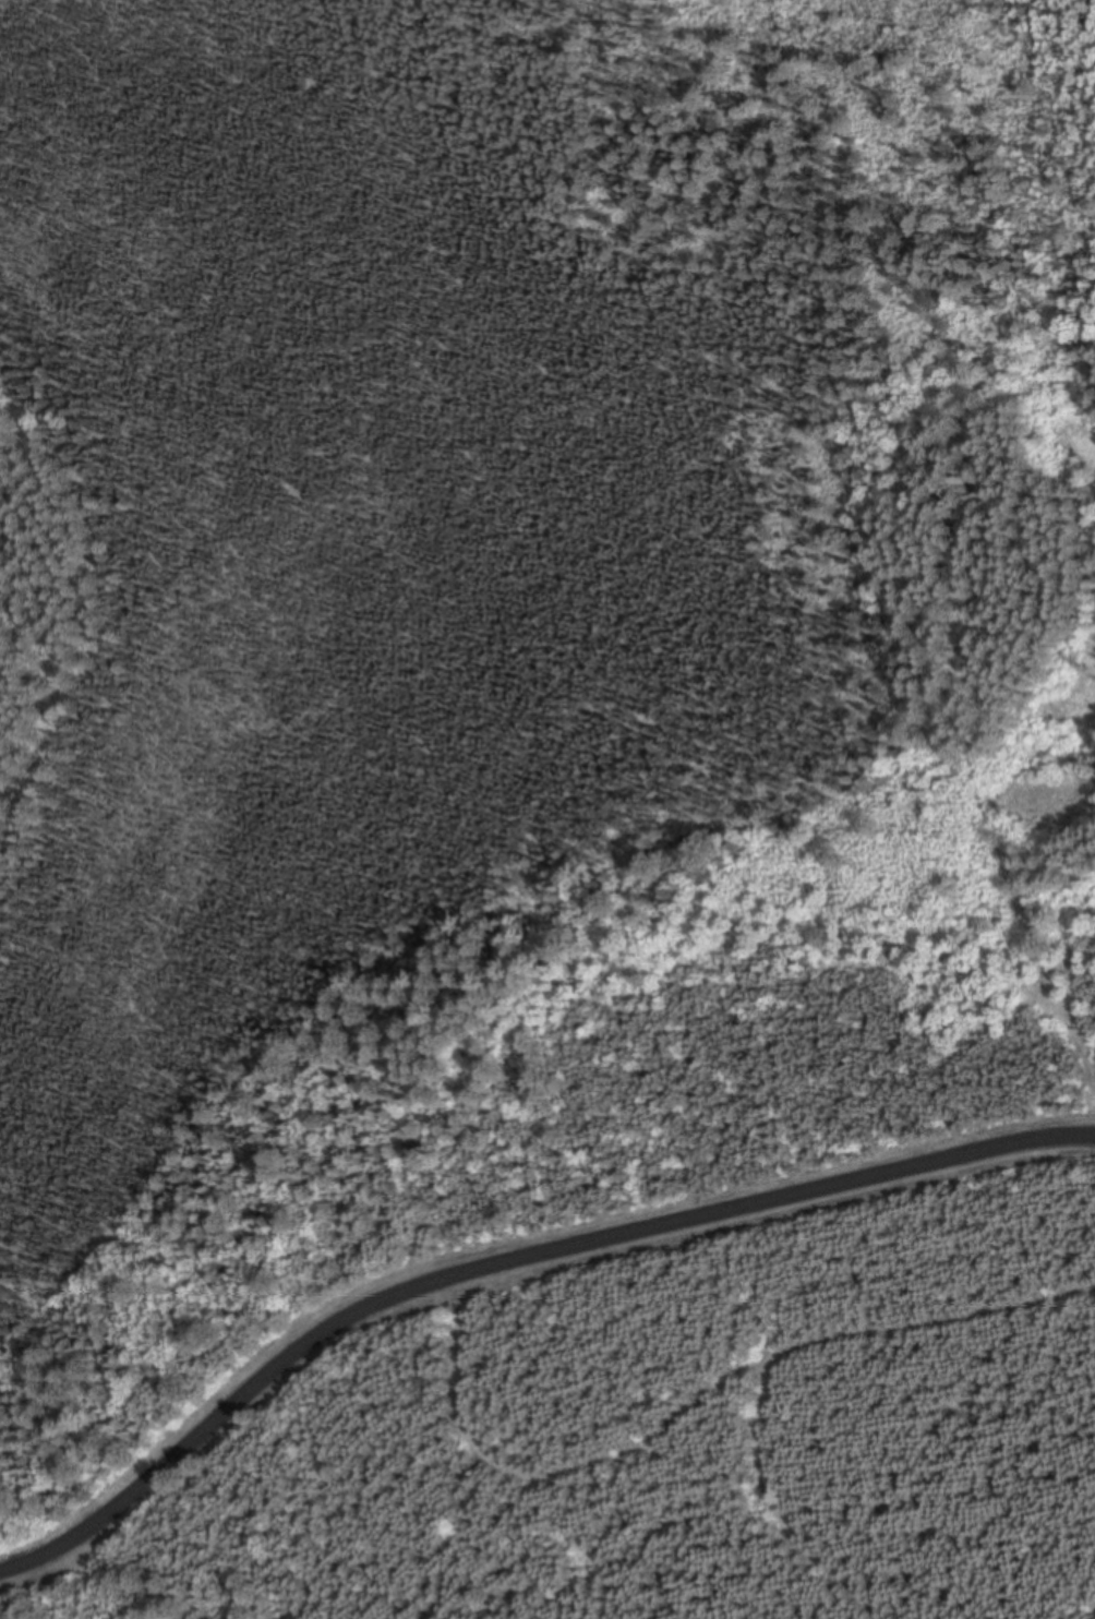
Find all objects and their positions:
road: (505, 1271)

